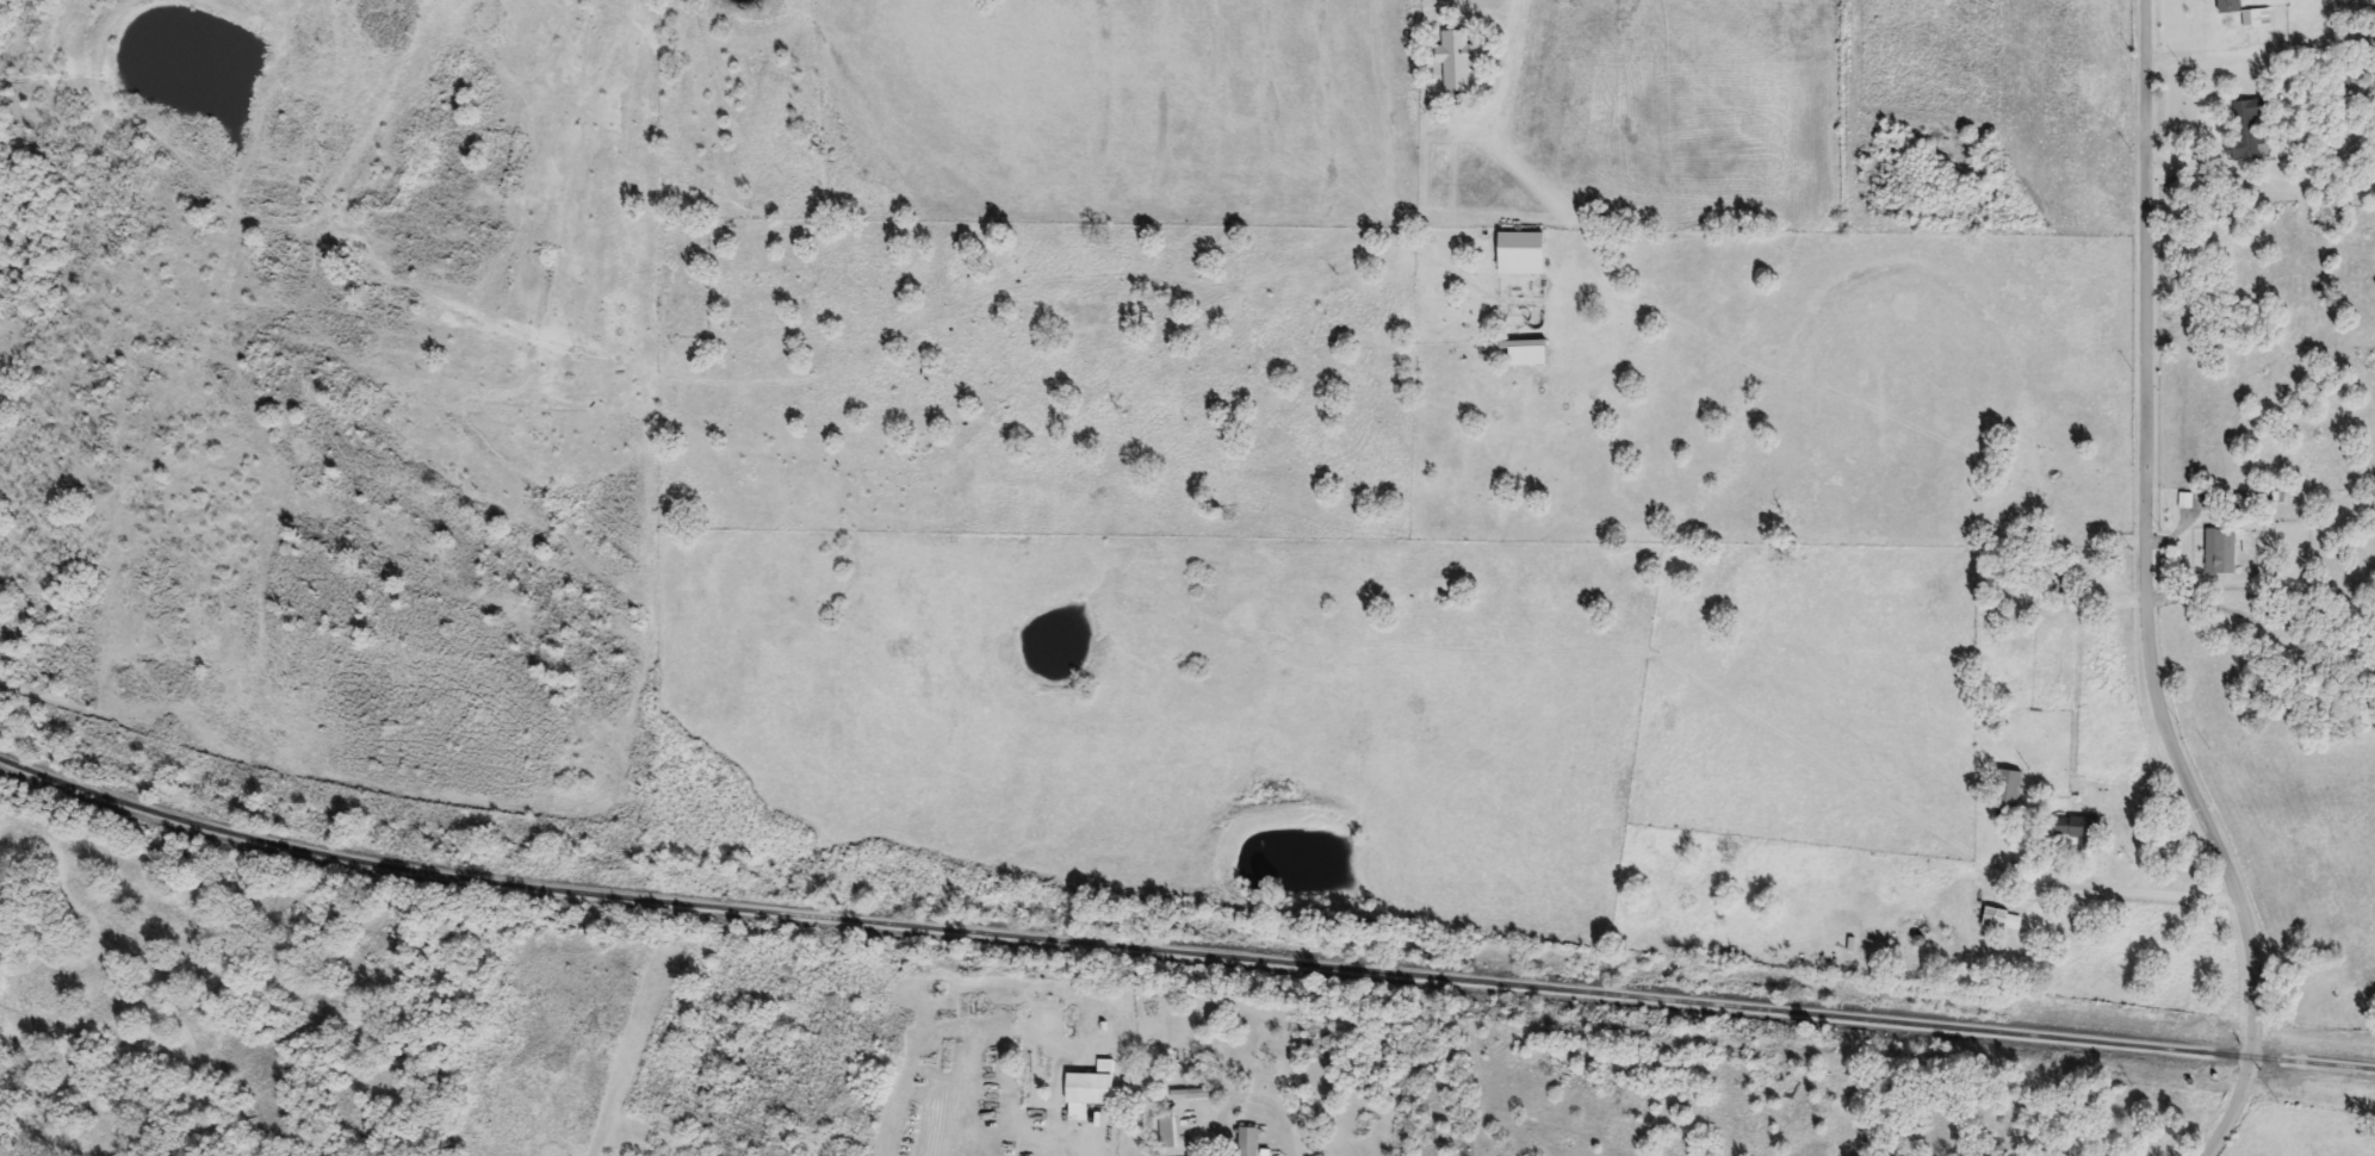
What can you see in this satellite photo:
building: (2232, 6)
road: (1502, 57)
building: (1458, 61)
building: (2252, 131)
building: (1525, 255)
building: (1532, 356)
building: (2224, 552)
building: (2077, 577)
road: (2148, 592)
road: (2259, 629)
building: (2009, 789)
road: (2145, 796)
building: (2081, 833)
road: (2150, 893)
building: (2005, 920)
railway: (1180, 955)
building: (1091, 1092)
building: (1168, 1133)
building: (1248, 1142)
road: (1284, 1145)

